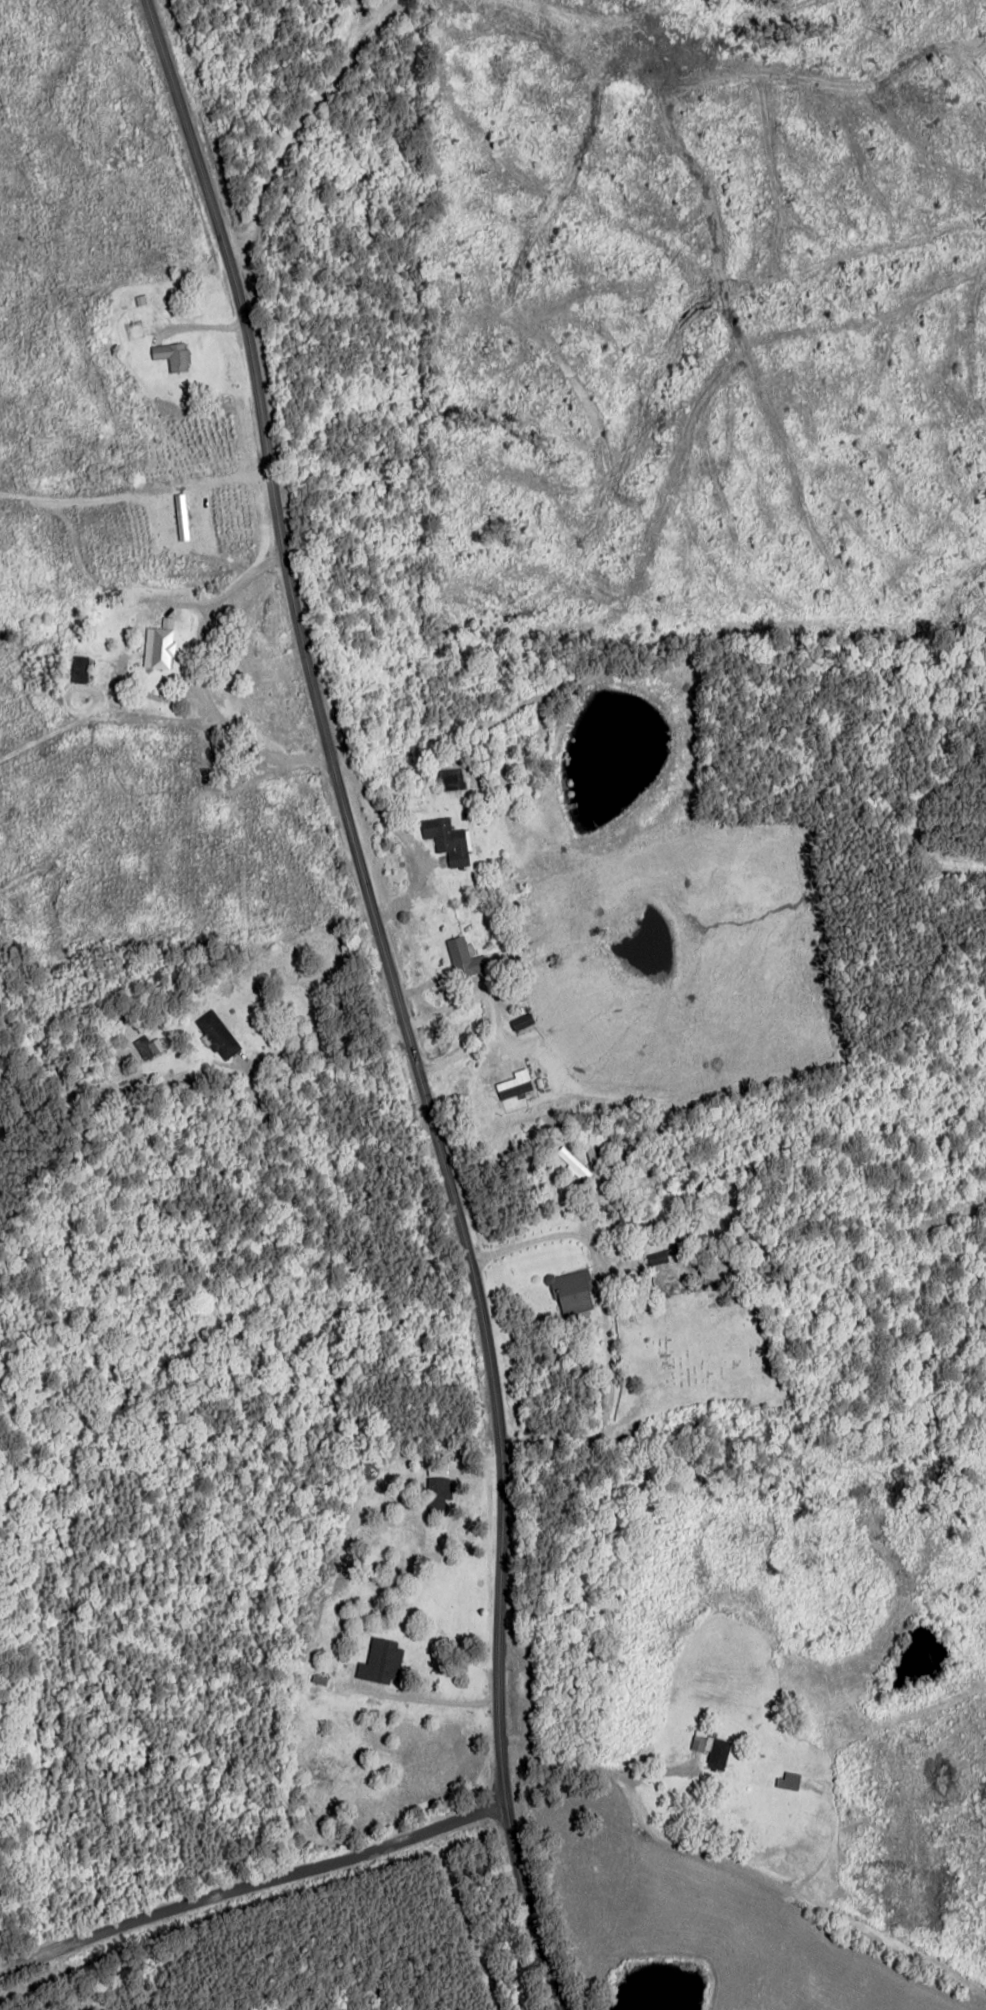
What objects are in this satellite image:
building: (172, 355)
building: (158, 644)
building: (79, 669)
building: (451, 781)
building: (447, 840)
building: (463, 957)
road: (395, 998)
building: (521, 1028)
building: (217, 1034)
building: (148, 1047)
building: (573, 1165)
building: (658, 1257)
building: (570, 1291)
building: (380, 1660)
building: (711, 1749)
building: (788, 1780)
road: (735, 1867)
road: (247, 1881)

